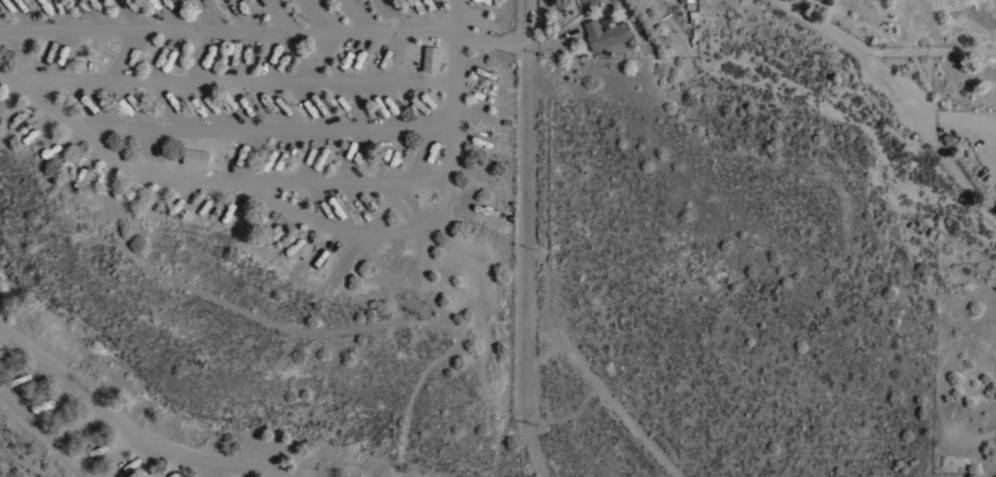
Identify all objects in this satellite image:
building: (687, 1)
road: (458, 18)
road: (231, 29)
building: (606, 37)
road: (494, 44)
road: (930, 51)
building: (431, 60)
road: (231, 80)
road: (899, 100)
road: (454, 107)
road: (68, 117)
building: (195, 158)
road: (528, 164)
road: (279, 177)
road: (529, 377)
road: (608, 396)
road: (124, 424)
road: (56, 440)
road: (533, 453)

